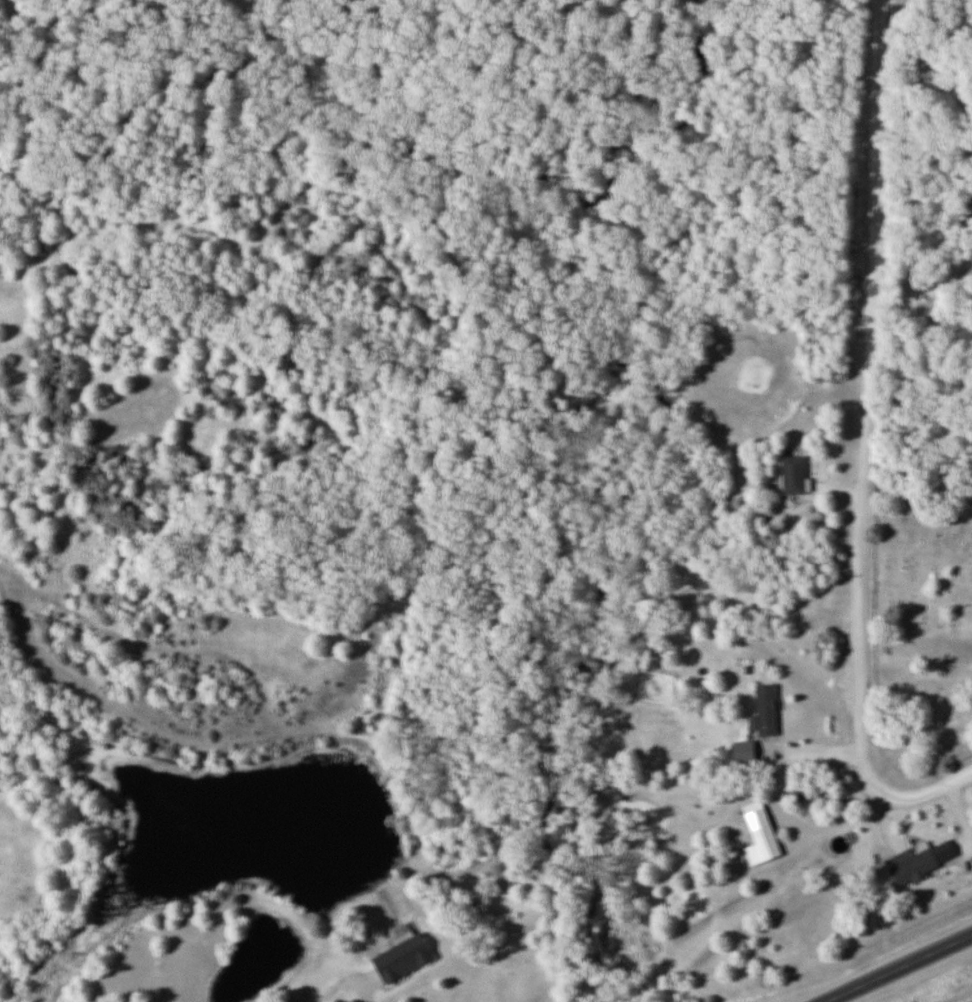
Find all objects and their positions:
road: (875, 158)
road: (922, 289)
building: (798, 474)
road: (860, 605)
park: (915, 641)
building: (768, 710)
building: (747, 751)
building: (800, 790)
building: (772, 844)
building: (917, 865)
building: (407, 957)
road: (896, 967)
road: (341, 983)

